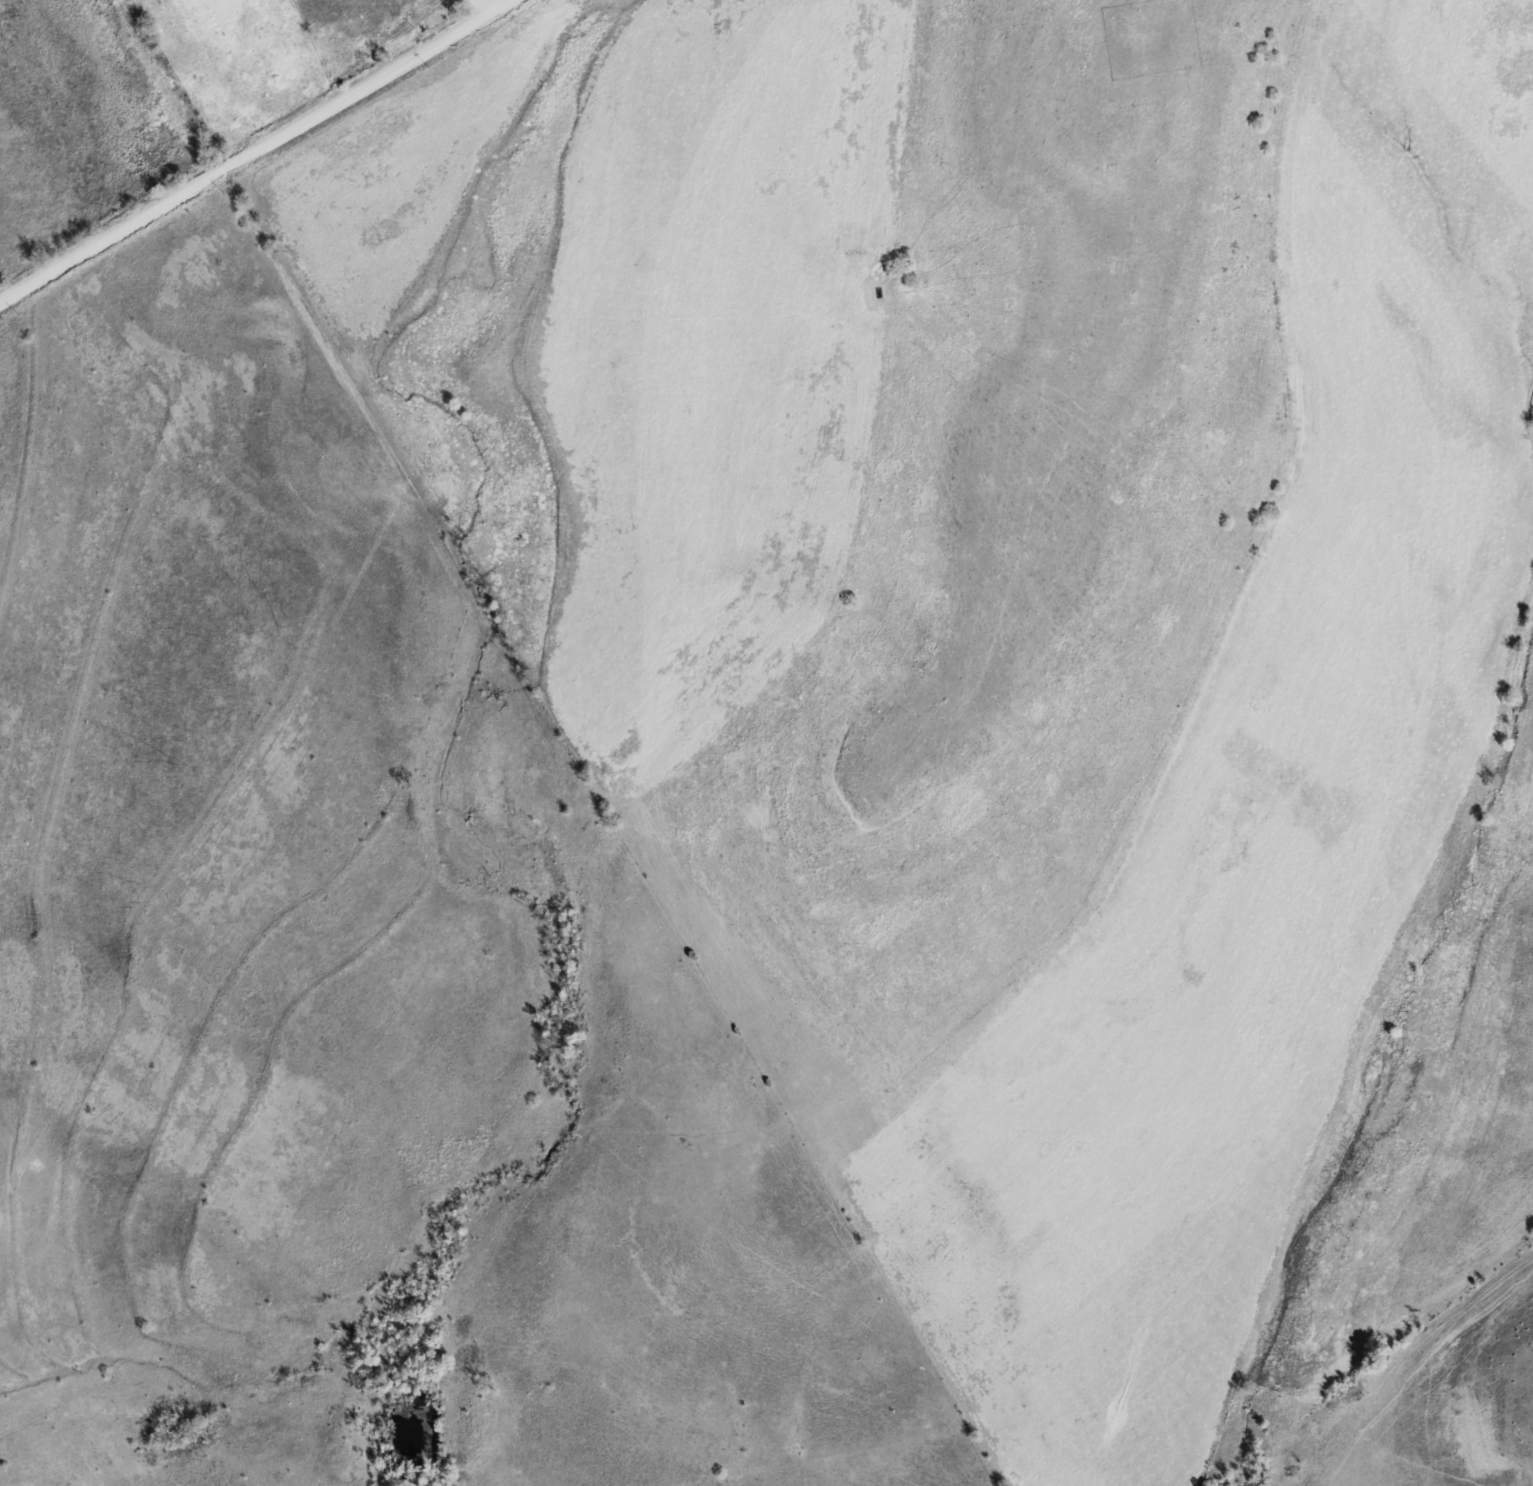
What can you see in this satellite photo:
road: (486, 8)
building: (365, 32)
road: (259, 152)

